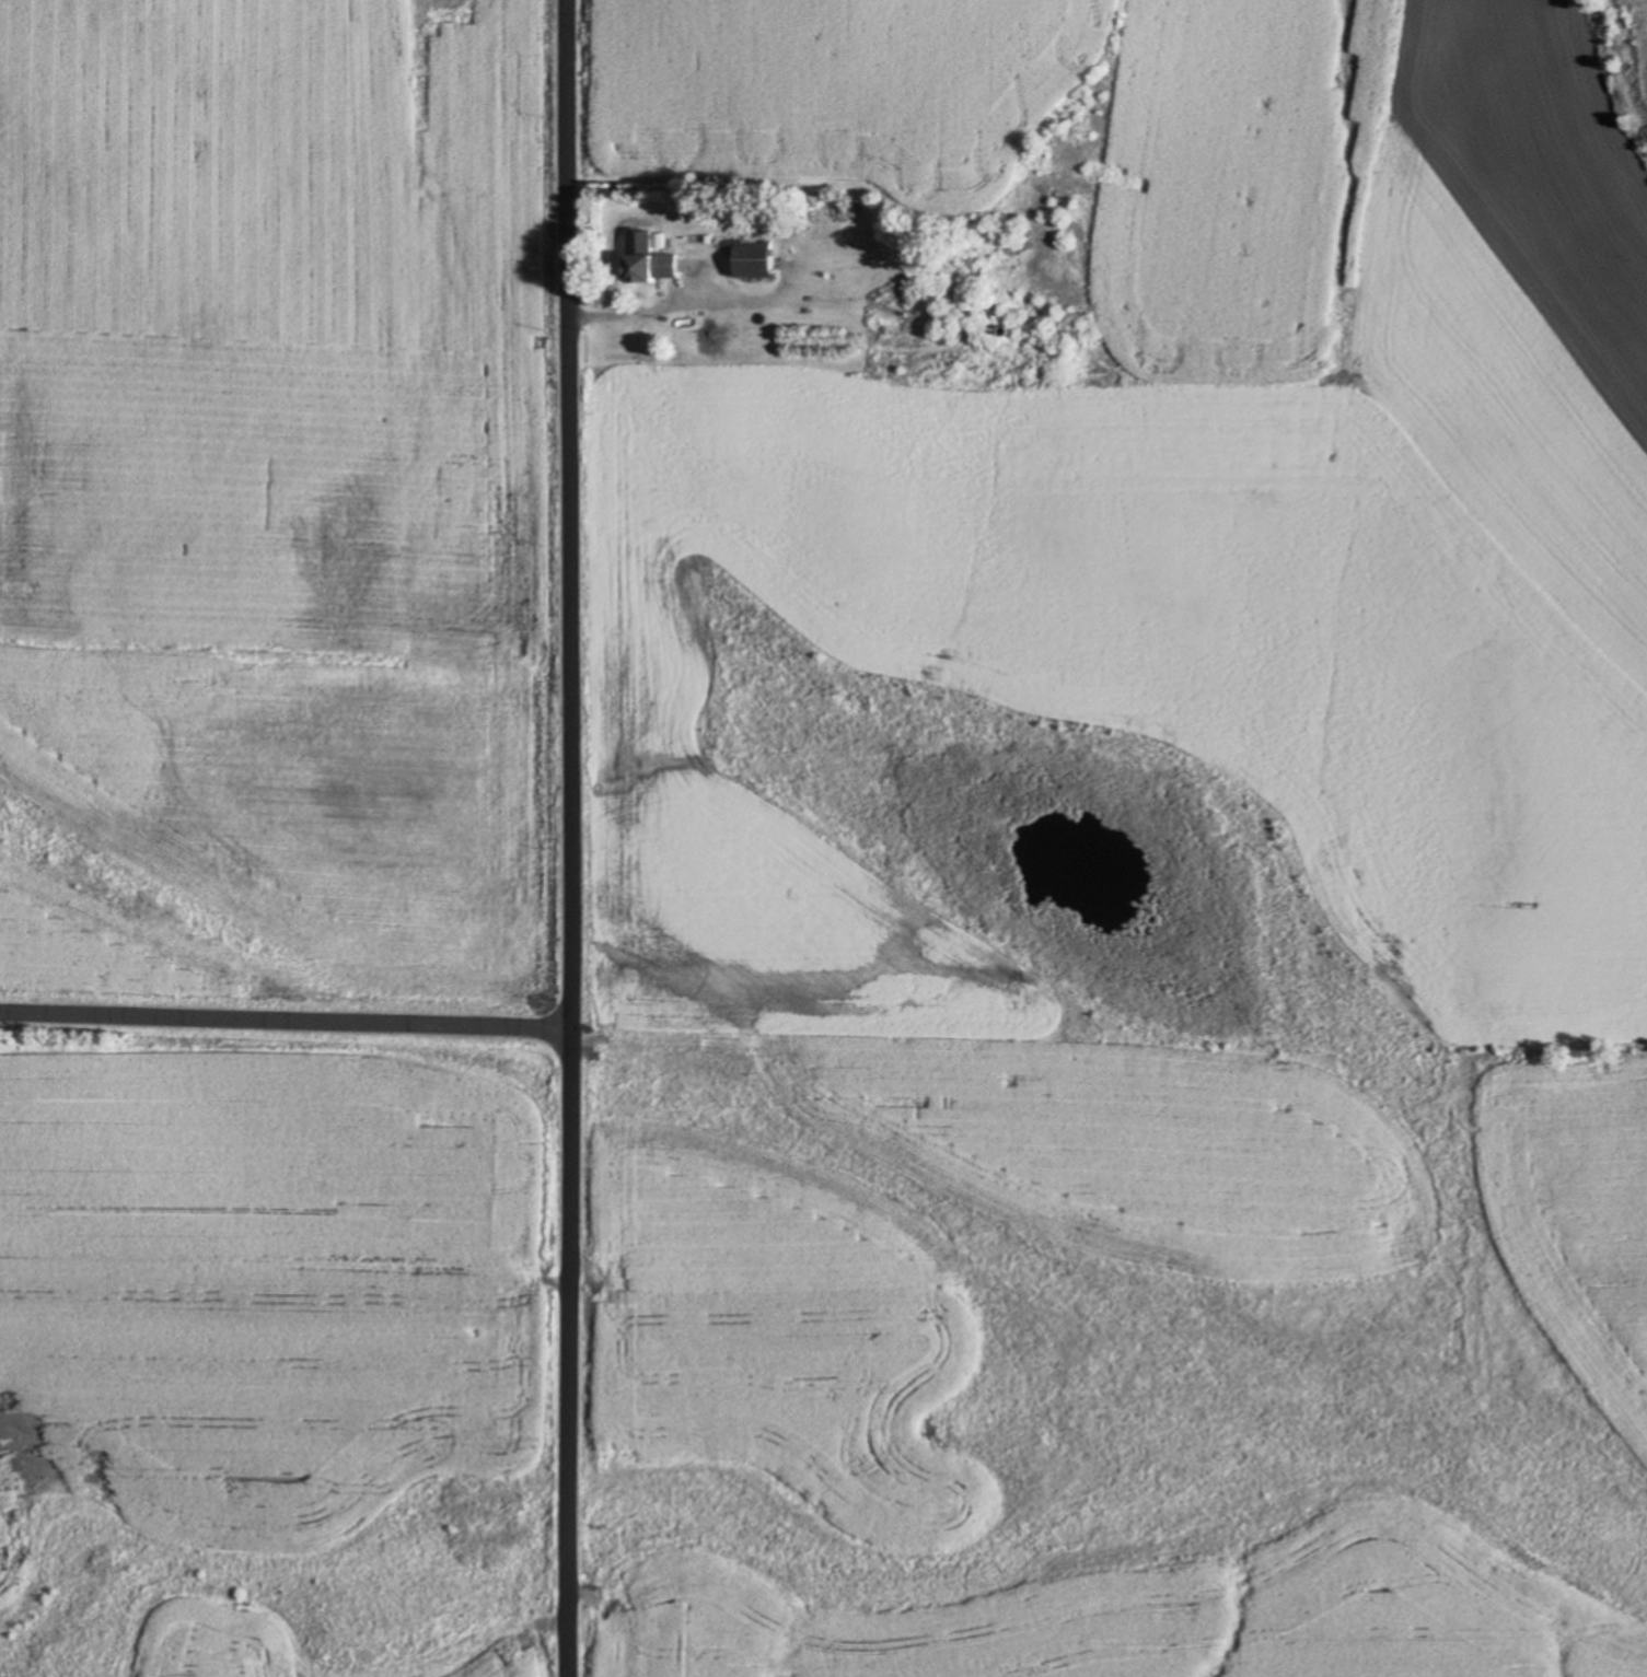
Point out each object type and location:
building: (752, 259)
building: (651, 267)
crop: (277, 505)
crop: (1170, 591)
road: (573, 838)
road: (287, 1016)
crop: (266, 1277)
crop: (773, 1332)
crop: (1141, 1611)
crop: (287, 1646)

